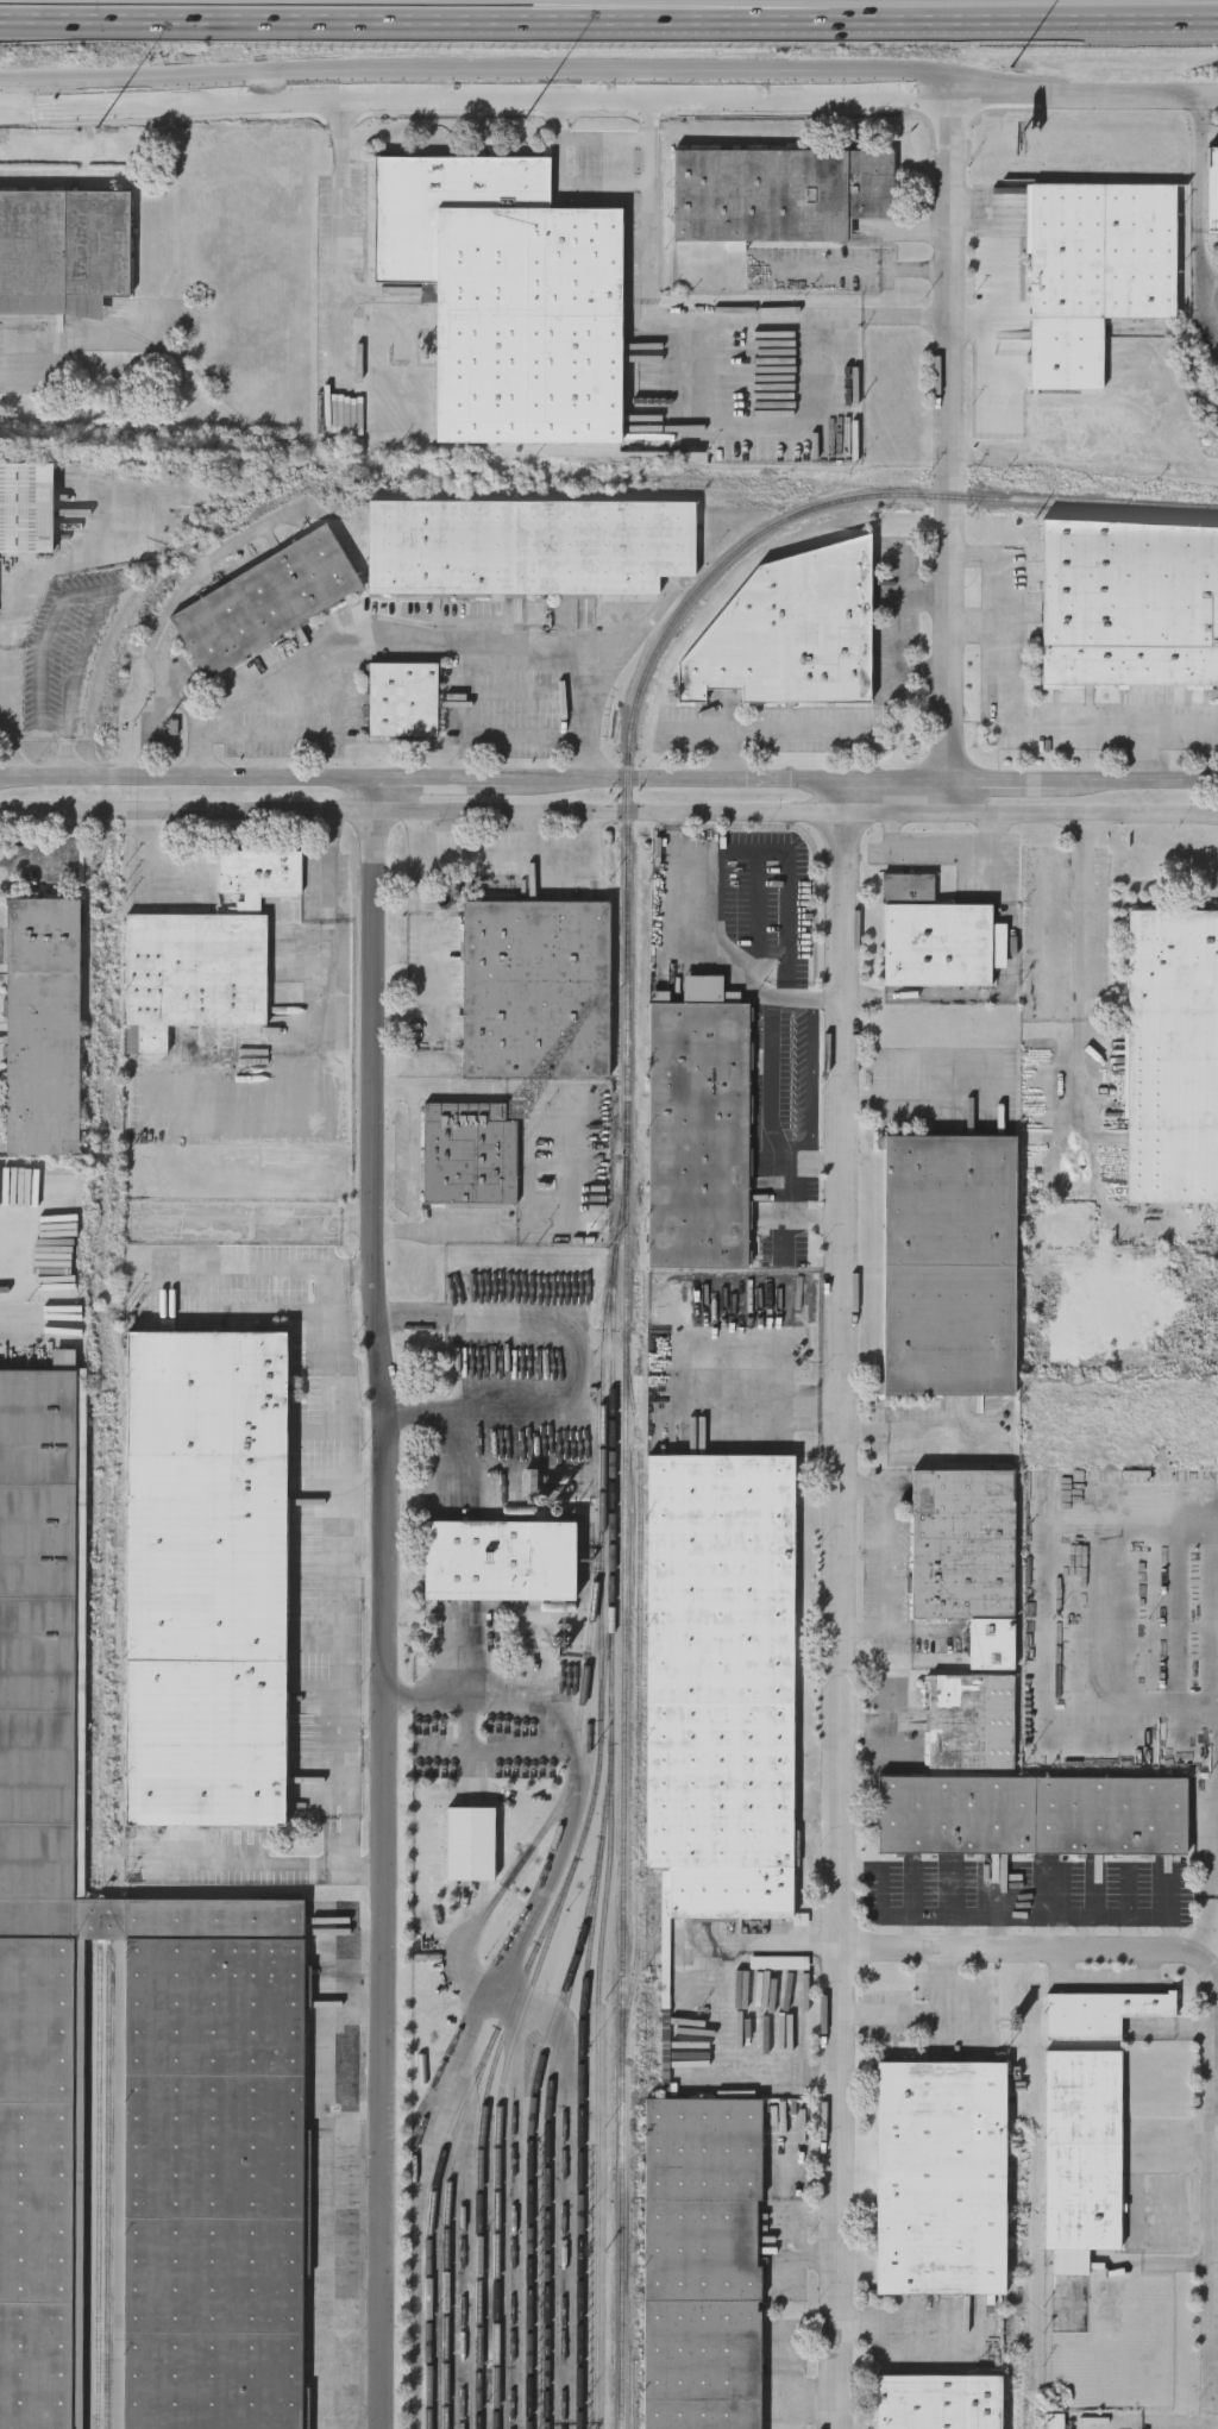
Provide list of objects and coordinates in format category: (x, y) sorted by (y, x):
road: (609, 12)
road: (608, 44)
road: (608, 92)
road: (561, 162)
building: (1211, 190)
building: (777, 194)
road: (1210, 195)
building: (62, 251)
road: (340, 256)
building: (1094, 274)
building: (506, 296)
road: (689, 320)
road: (13, 365)
road: (758, 429)
road: (949, 453)
railway: (1060, 502)
building: (25, 507)
building: (527, 547)
road: (59, 565)
road: (94, 592)
building: (264, 597)
building: (1129, 604)
road: (977, 628)
building: (790, 629)
road: (897, 632)
road: (414, 639)
building: (402, 701)
road: (13, 714)
road: (1004, 718)
road: (773, 730)
road: (699, 732)
road: (309, 735)
road: (481, 736)
road: (1143, 753)
road: (63, 757)
road: (609, 780)
road: (526, 833)
road: (943, 846)
road: (506, 852)
road: (417, 909)
road: (1074, 912)
building: (933, 935)
road: (729, 942)
building: (205, 953)
building: (534, 988)
building: (42, 1025)
road: (329, 1050)
building: (1172, 1055)
road: (427, 1091)
road: (922, 1103)
road: (778, 1104)
building: (698, 1135)
building: (469, 1154)
road: (573, 1155)
road: (811, 1156)
road: (416, 1161)
road: (812, 1211)
road: (434, 1229)
building: (949, 1264)
road: (250, 1273)
building: (492, 1313)
road: (334, 1350)
railway: (626, 1385)
road: (755, 1408)
road: (337, 1531)
building: (966, 1555)
road: (884, 1557)
building: (498, 1558)
building: (205, 1576)
road: (1054, 1602)
road: (382, 1603)
road: (843, 1603)
building: (720, 1681)
road: (1216, 1681)
road: (337, 1694)
railway: (641, 1694)
road: (555, 1706)
building: (971, 1720)
road: (1216, 1736)
railway: (613, 1799)
building: (1031, 1813)
road: (338, 1826)
building: (470, 1841)
railway: (580, 1847)
road: (263, 1869)
building: (42, 1888)
road: (999, 1916)
road: (1086, 1932)
road: (1132, 1932)
road: (1214, 1932)
road: (954, 1933)
road: (997, 1933)
road: (1044, 1933)
road: (913, 1934)
road: (1173, 1934)
road: (771, 1945)
road: (1021, 1950)
road: (1216, 1950)
building: (1101, 2011)
railway: (582, 2090)
railway: (482, 2140)
railway: (548, 2140)
building: (1082, 2148)
building: (207, 2160)
building: (940, 2177)
railway: (529, 2183)
railway: (451, 2184)
railway: (89, 2190)
railway: (100, 2190)
railway: (108, 2191)
road: (1214, 2195)
railway: (432, 2221)
building: (701, 2262)
road: (879, 2322)
building: (937, 2402)
building: (1061, 2421)
road: (1189, 2425)
road: (1122, 2428)

